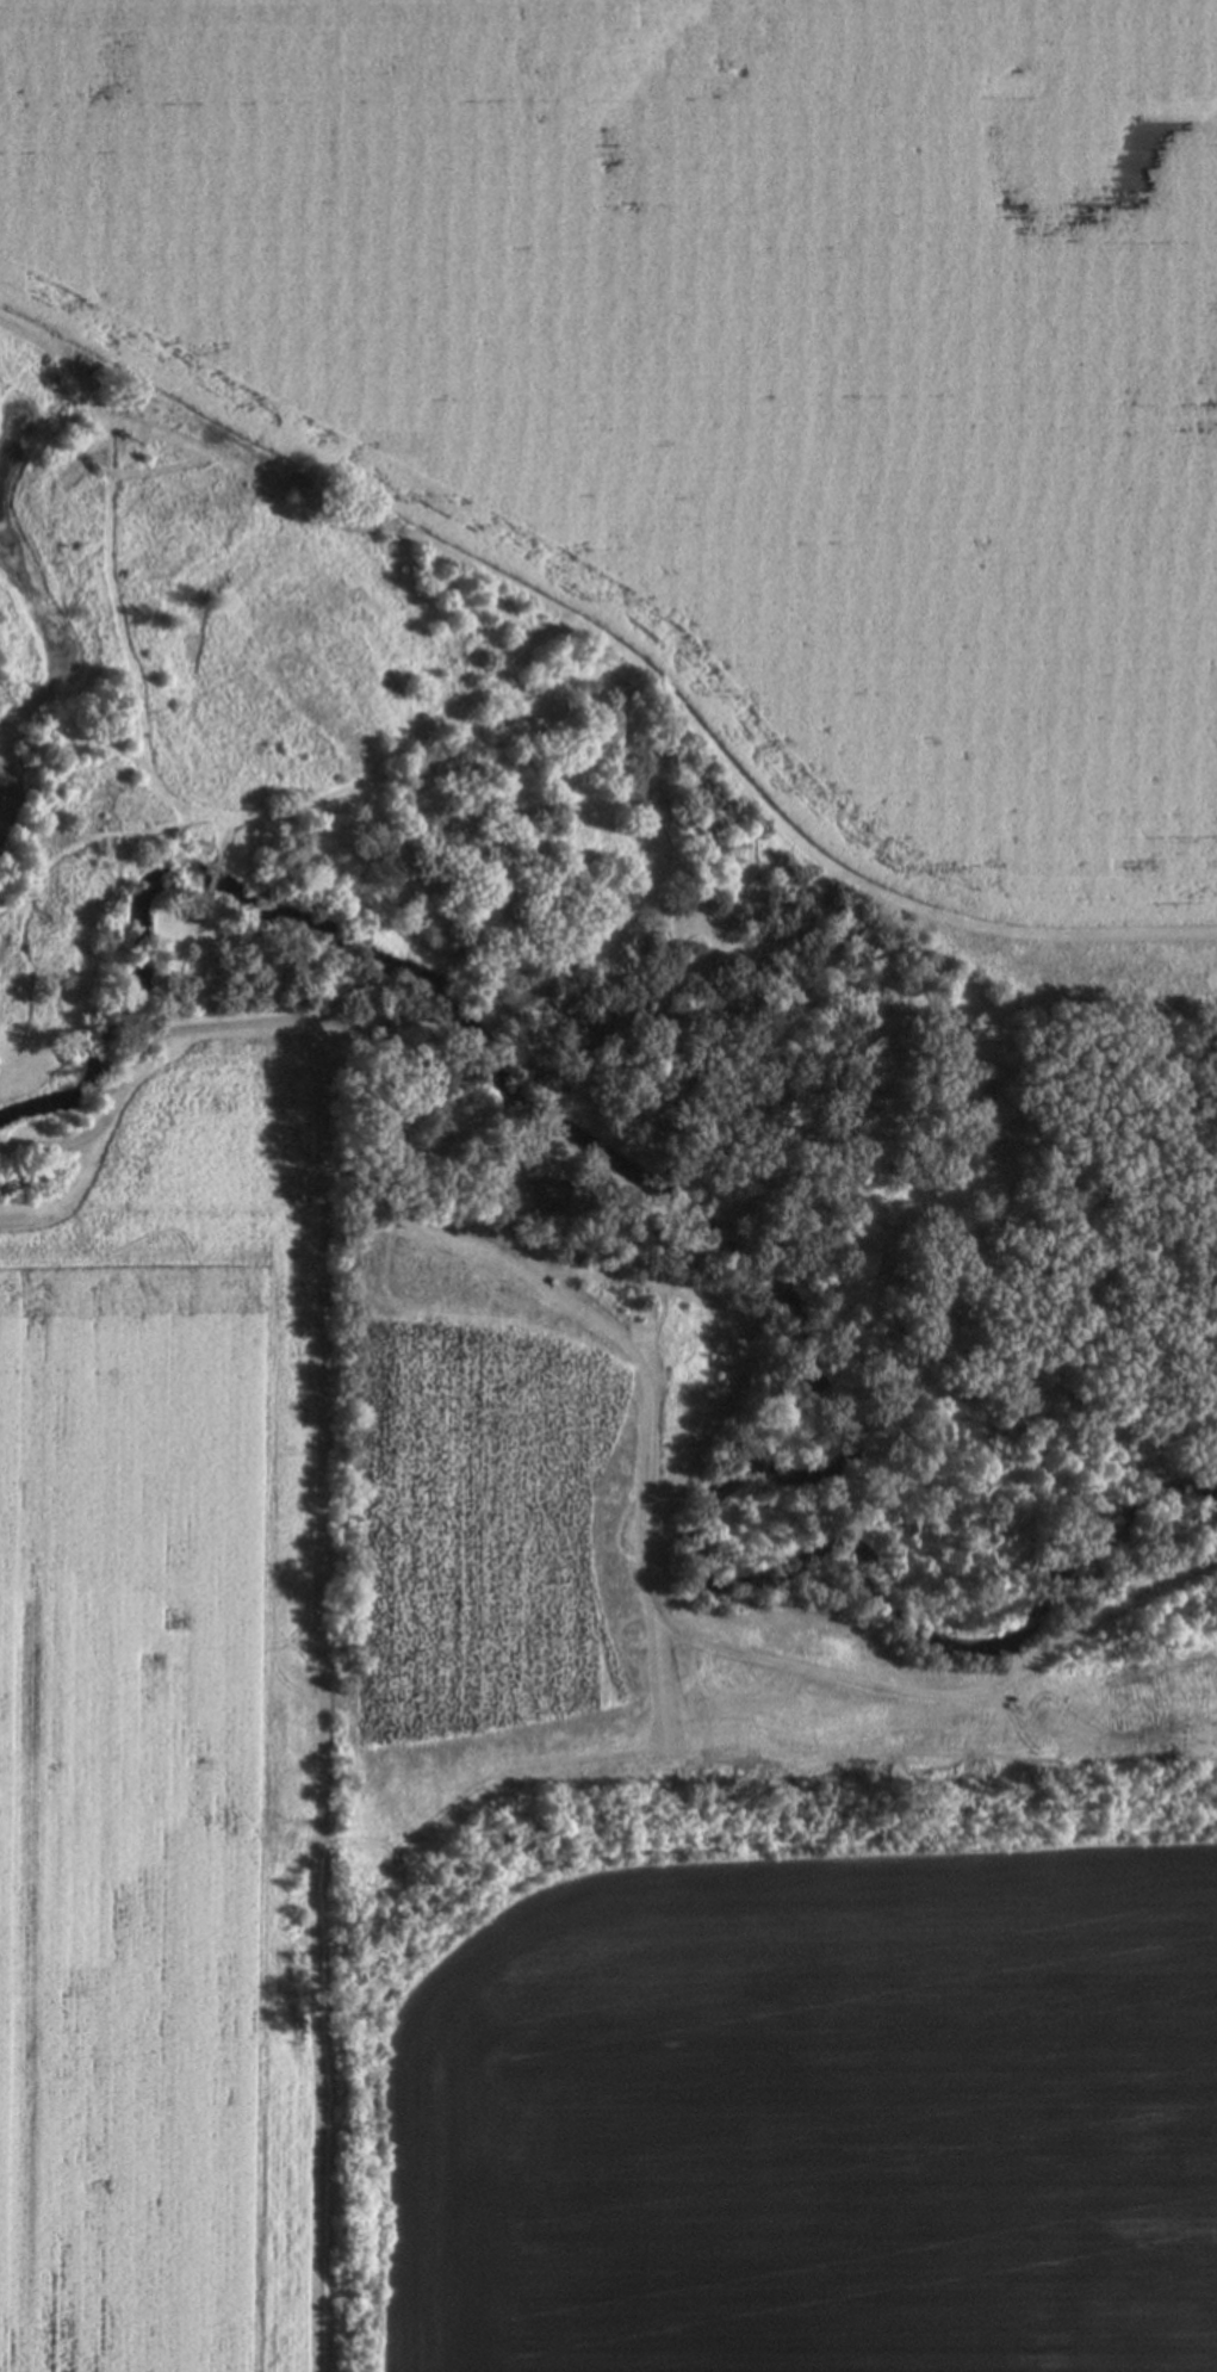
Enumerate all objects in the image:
road: (293, 1018)
building: (544, 1193)
river: (772, 1272)

